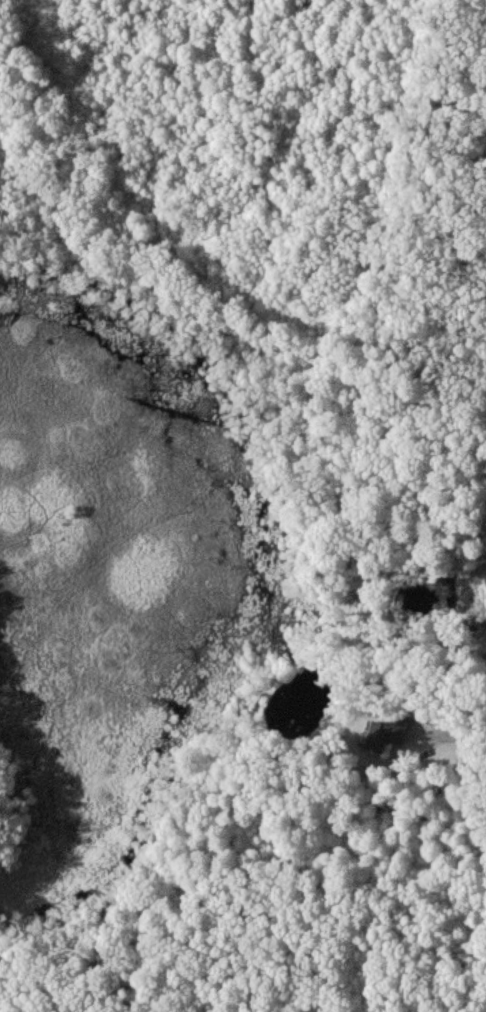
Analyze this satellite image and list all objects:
road: (461, 737)

